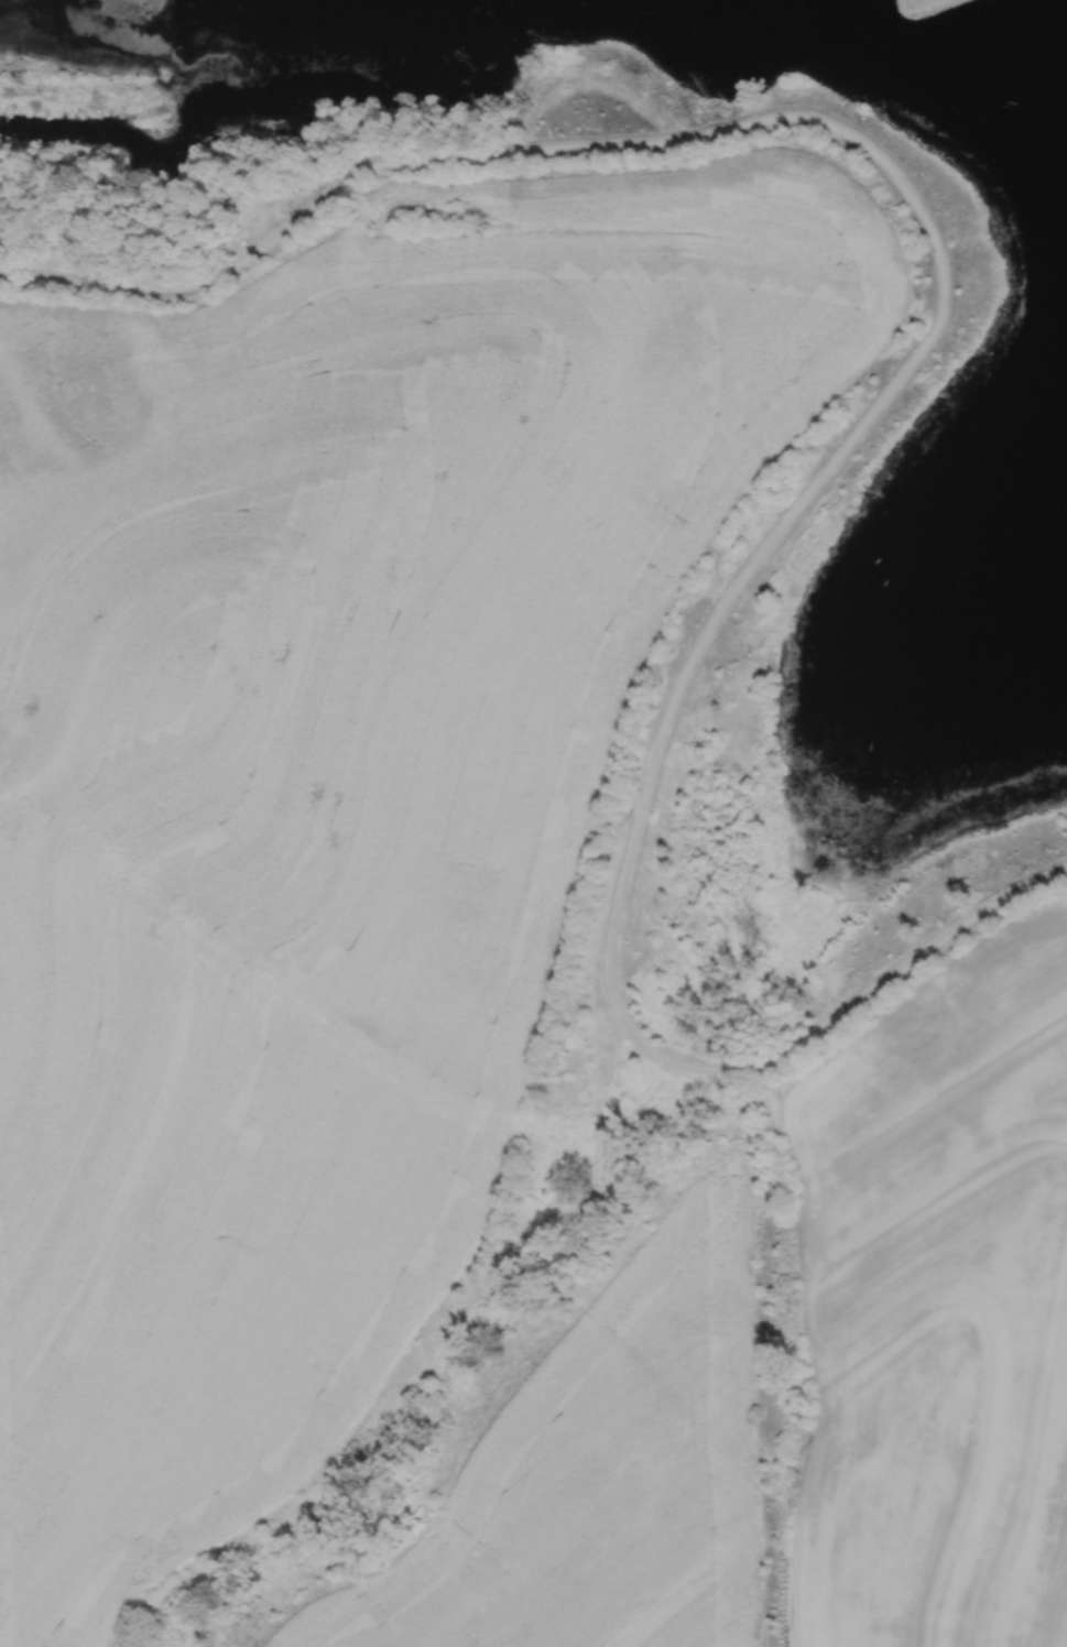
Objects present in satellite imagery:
road: (438, 163)
park: (850, 677)
crop: (334, 786)
road: (639, 805)
crop: (938, 1309)
crop: (600, 1470)

